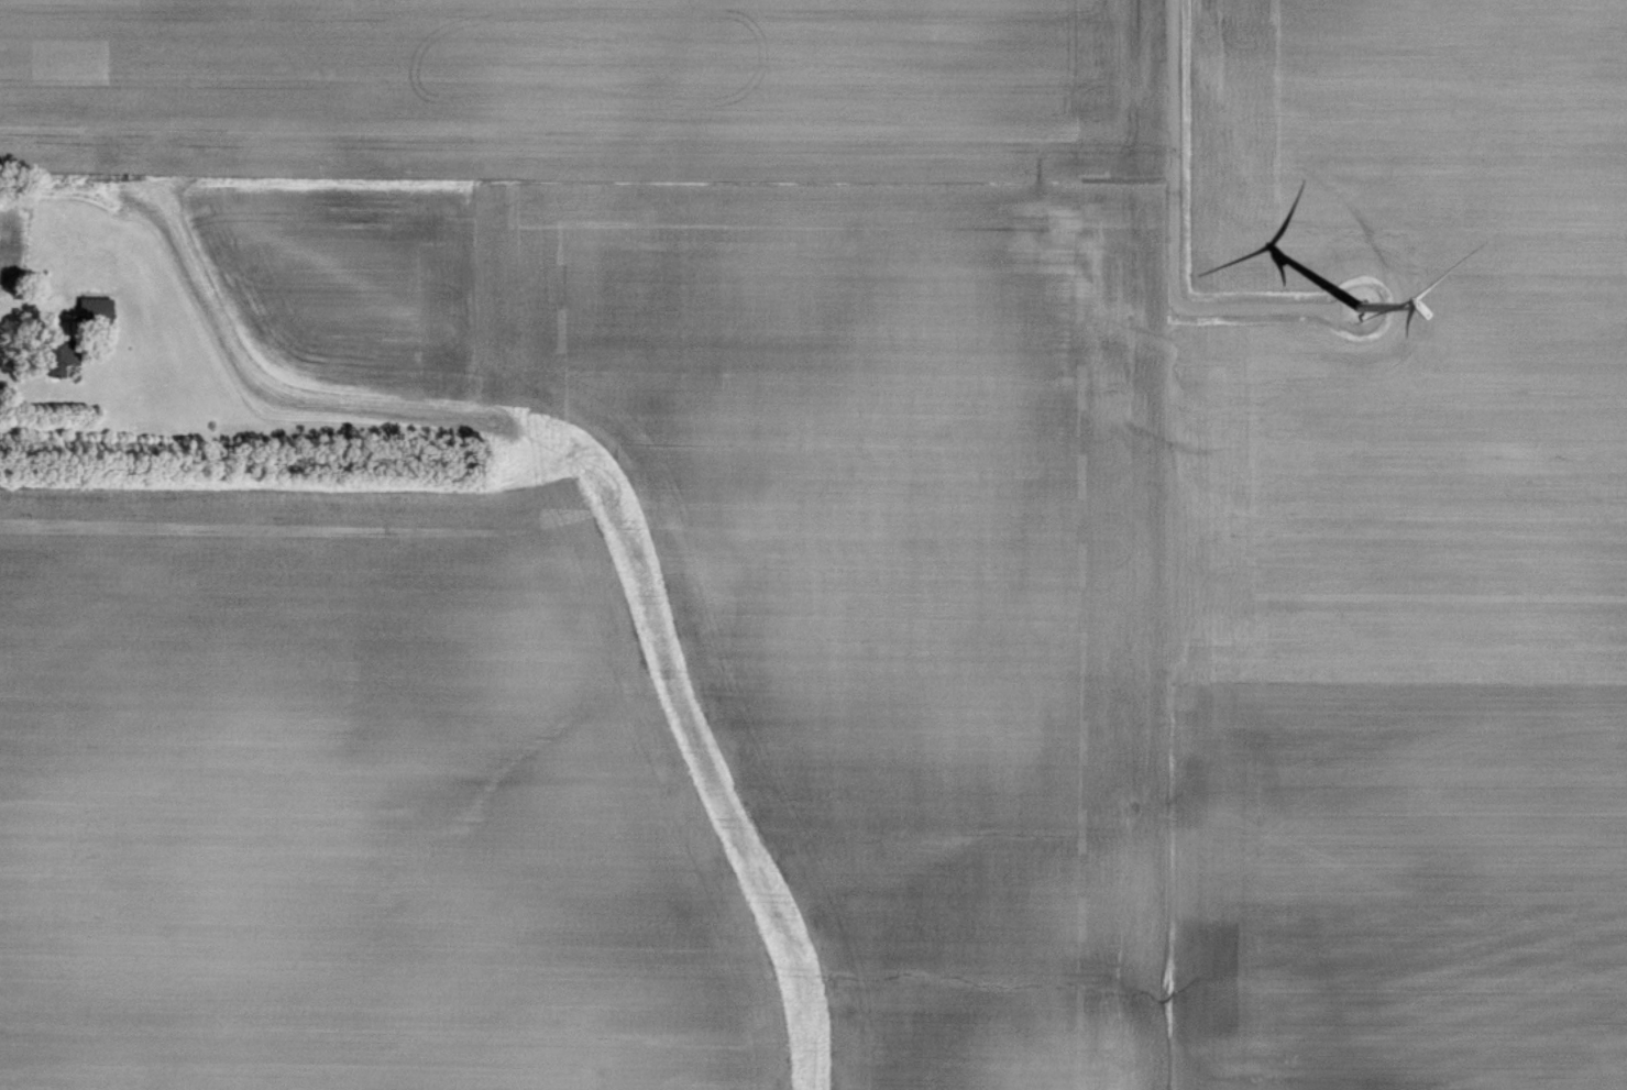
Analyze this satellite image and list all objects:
wind turbine: (1359, 309)
road: (25, 312)

